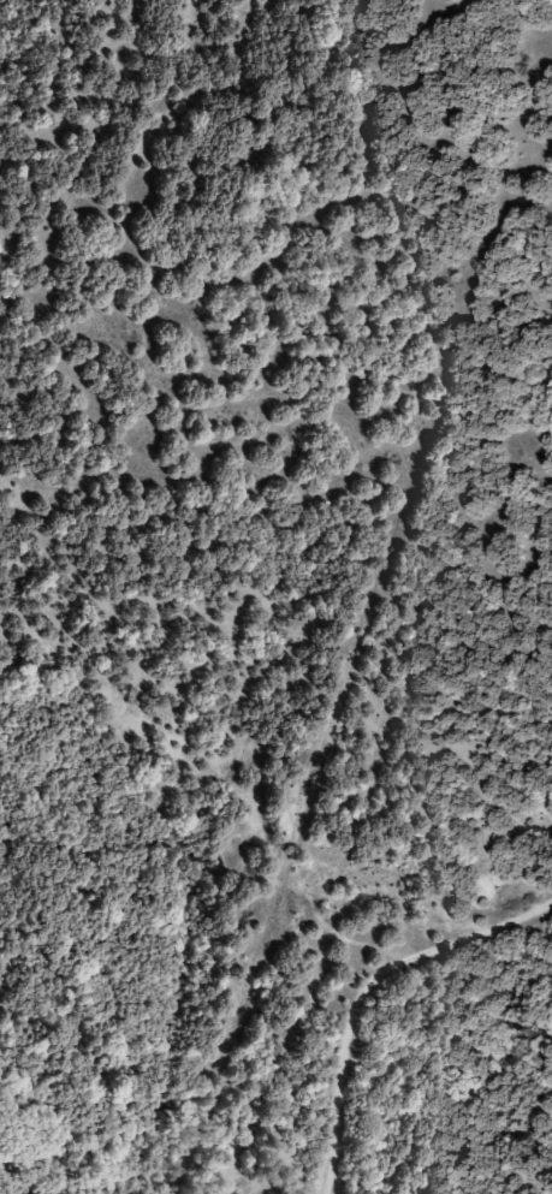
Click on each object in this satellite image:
road: (408, 1034)

